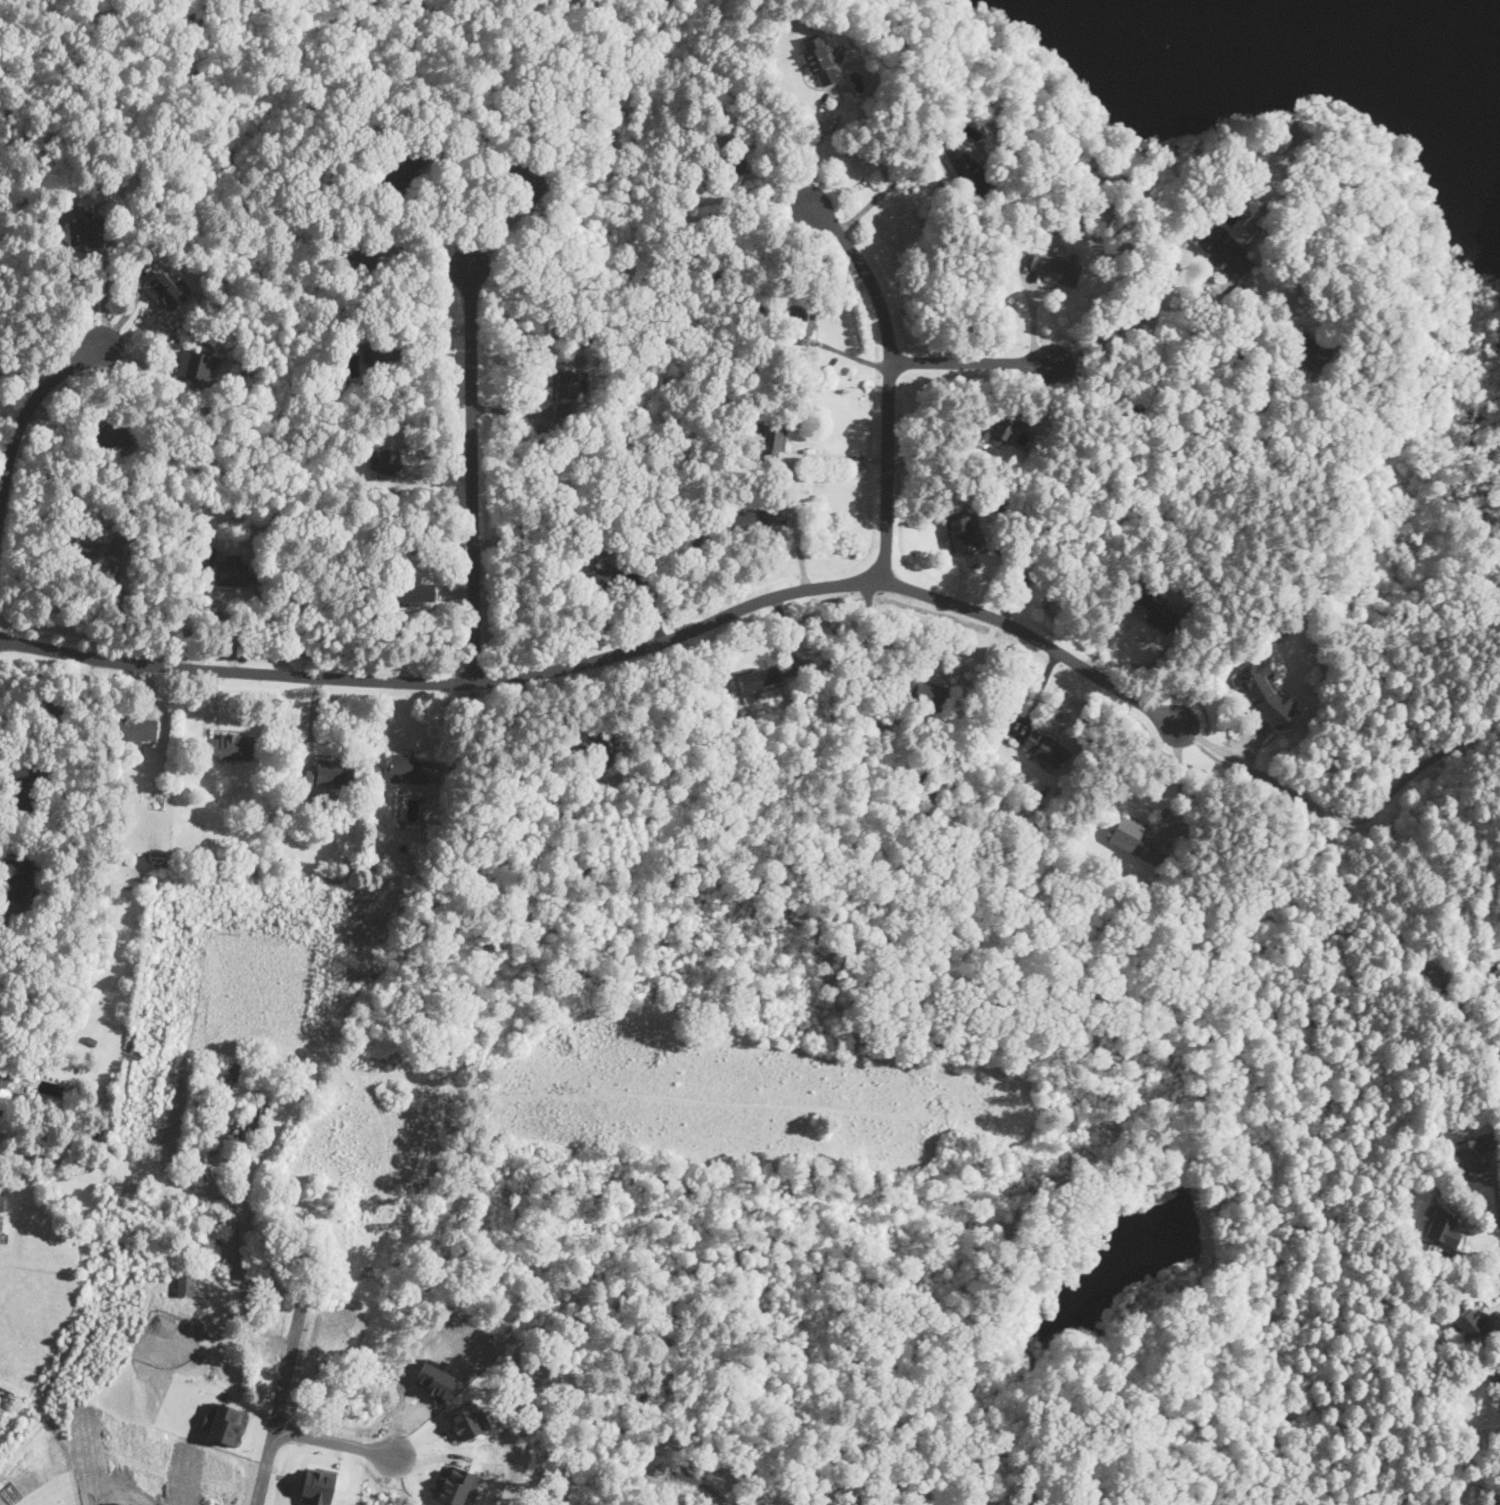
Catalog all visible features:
building: (820, 60)
road: (813, 152)
road: (770, 160)
building: (731, 165)
building: (404, 169)
building: (969, 171)
building: (527, 180)
road: (884, 191)
road: (450, 214)
building: (85, 230)
building: (1222, 245)
building: (368, 258)
building: (1056, 266)
building: (166, 289)
road: (106, 296)
road: (1133, 320)
building: (803, 323)
building: (1306, 349)
building: (387, 355)
road: (971, 362)
building: (197, 365)
road: (890, 382)
building: (564, 383)
road: (1163, 396)
road: (33, 404)
building: (563, 410)
building: (1003, 428)
building: (111, 433)
building: (773, 442)
road: (837, 457)
building: (386, 462)
road: (469, 471)
building: (752, 519)
building: (960, 534)
building: (88, 546)
building: (226, 566)
building: (604, 580)
building: (414, 593)
building: (1159, 607)
road: (610, 656)
building: (759, 678)
building: (921, 692)
building: (1264, 694)
building: (51, 716)
building: (133, 729)
building: (229, 745)
building: (1045, 748)
building: (597, 750)
building: (408, 769)
building: (336, 772)
building: (305, 777)
building: (26, 785)
road: (1184, 786)
road: (1347, 819)
building: (1133, 839)
building: (20, 886)
building: (5, 1098)
building: (1471, 1151)
road: (120, 1168)
road: (1496, 1186)
building: (0, 1219)
building: (1443, 1227)
building: (185, 1284)
building: (1472, 1321)
building: (1499, 1373)
road: (278, 1409)
road: (333, 1440)

